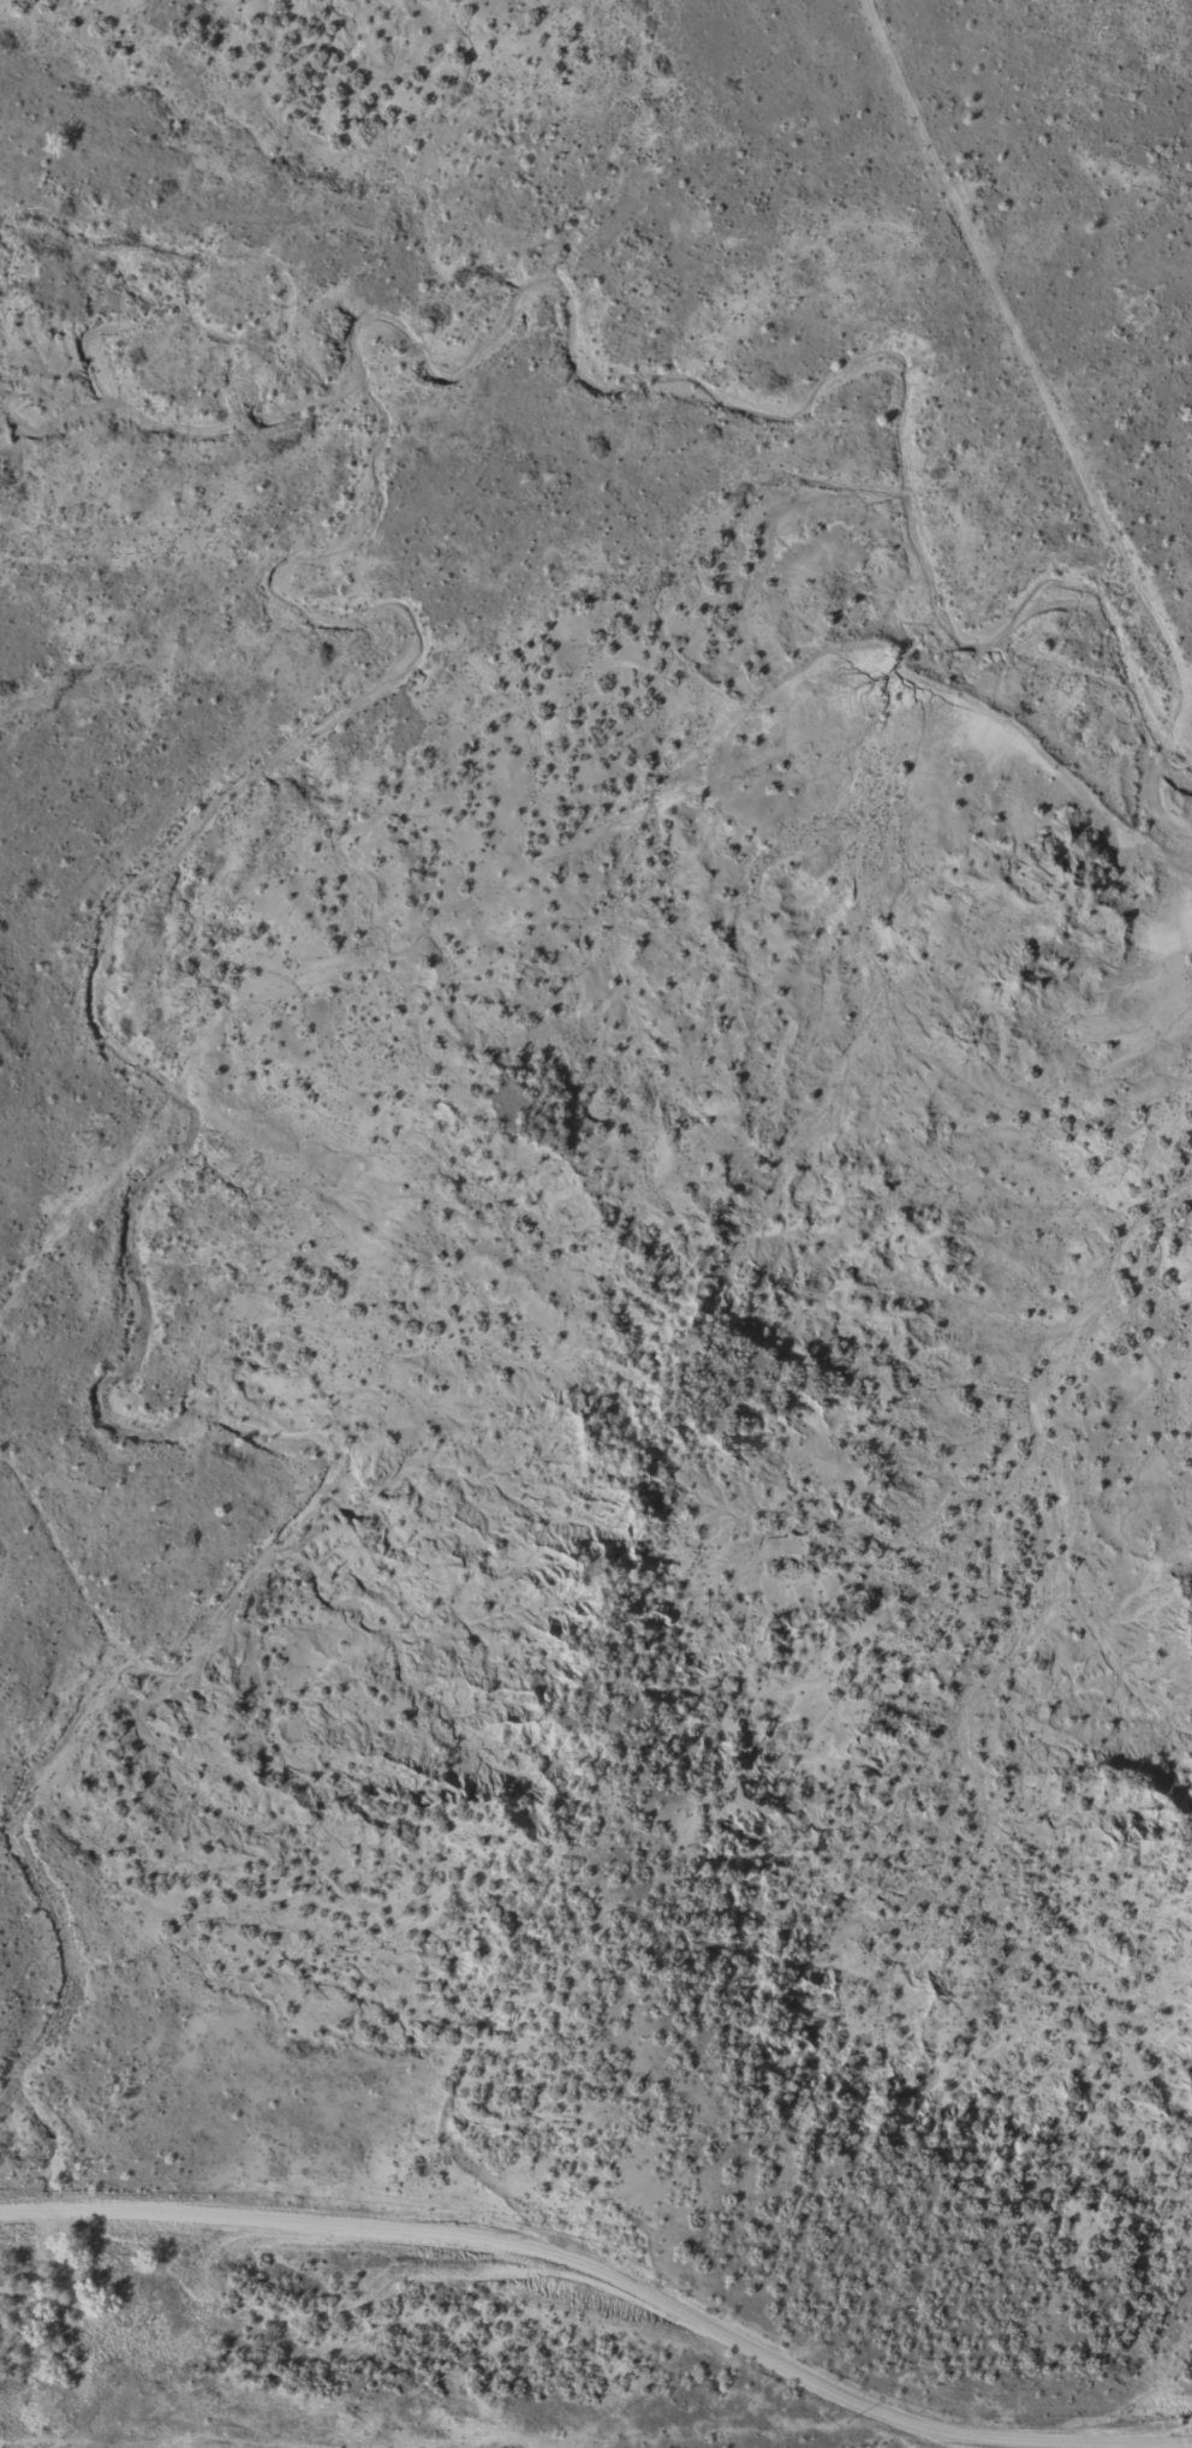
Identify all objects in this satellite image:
road: (485, 2283)
road: (23, 2292)

